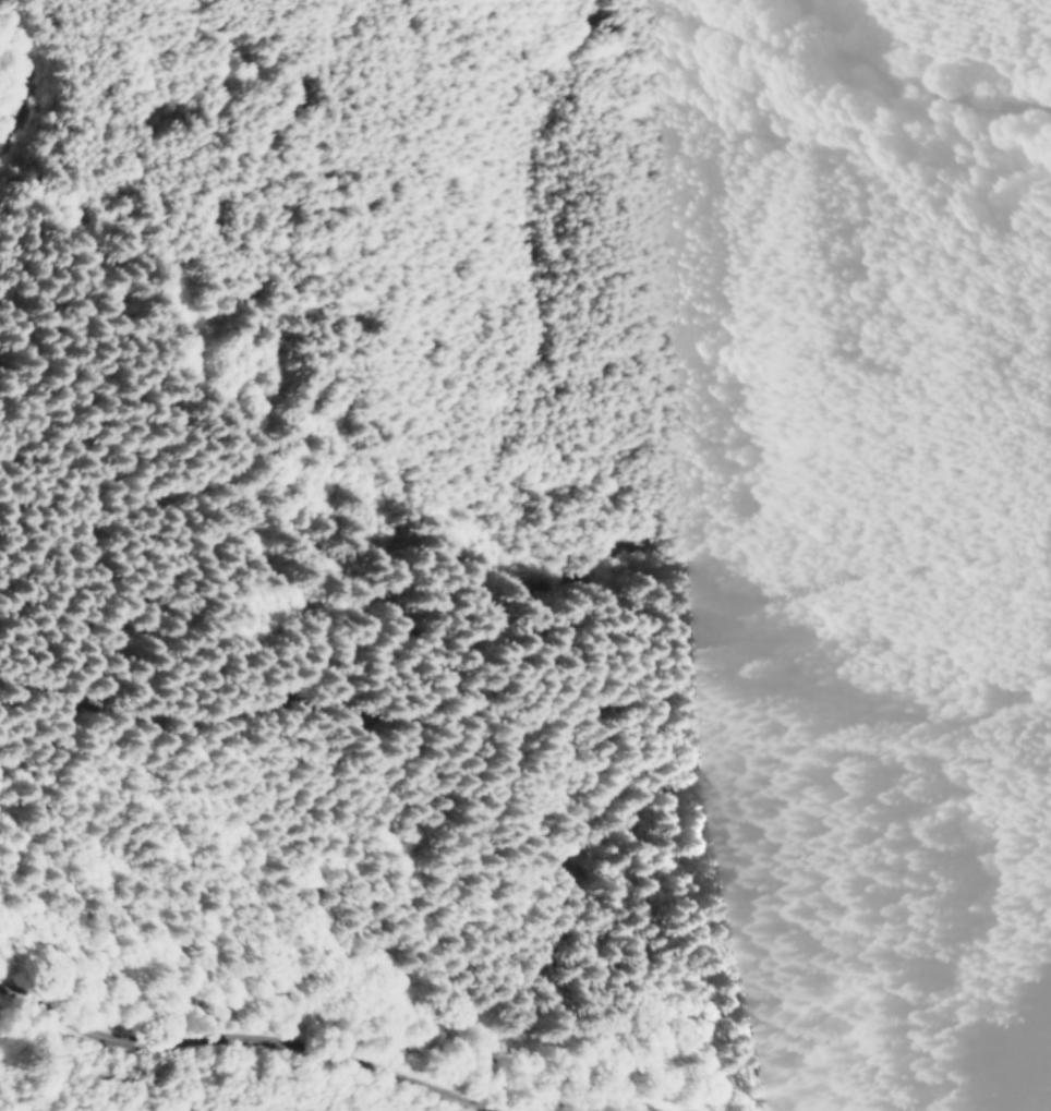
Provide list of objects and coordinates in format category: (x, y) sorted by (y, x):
road: (200, 1010)

